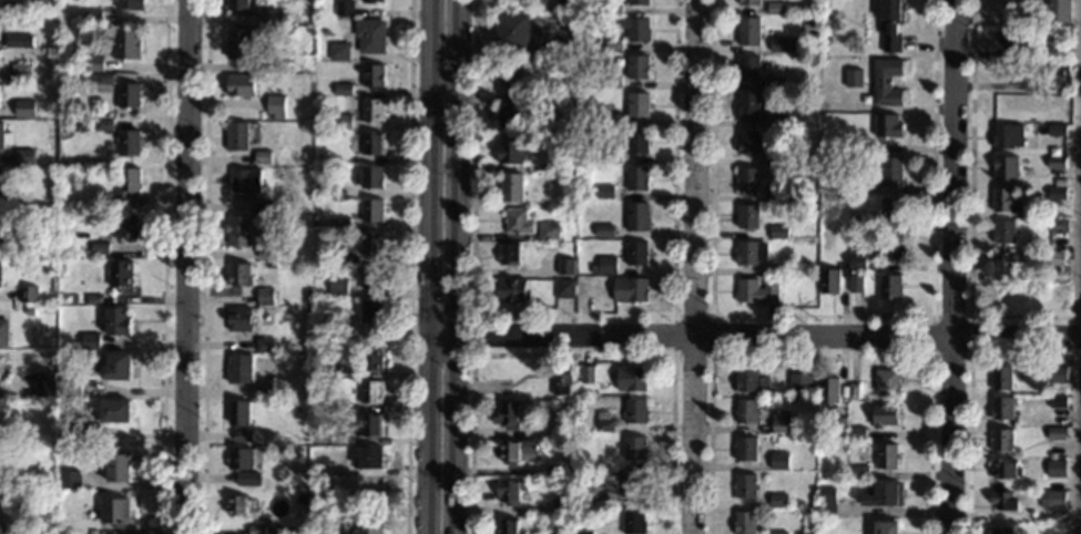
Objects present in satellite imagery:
building: (1032, 0)
building: (0, 1)
building: (371, 1)
building: (565, 2)
building: (638, 2)
building: (749, 2)
building: (131, 4)
building: (239, 4)
building: (16, 7)
building: (612, 7)
building: (345, 8)
building: (776, 8)
building: (1055, 10)
building: (93, 17)
building: (275, 17)
building: (890, 23)
building: (807, 27)
building: (636, 29)
building: (513, 31)
building: (749, 31)
building: (371, 35)
building: (1013, 38)
building: (16, 40)
building: (565, 42)
building: (128, 43)
building: (242, 43)
building: (612, 44)
building: (782, 44)
building: (307, 48)
building: (339, 51)
building: (1043, 52)
building: (94, 63)
building: (276, 65)
building: (636, 66)
building: (748, 68)
building: (1057, 68)
building: (512, 70)
building: (21, 72)
building: (374, 75)
building: (101, 78)
building: (854, 78)
building: (610, 80)
building: (886, 82)
building: (1062, 84)
building: (242, 85)
building: (777, 85)
building: (540, 86)
building: (344, 89)
building: (129, 95)
building: (1054, 99)
building: (1008, 103)
building: (276, 104)
building: (638, 104)
building: (748, 105)
building: (26, 107)
building: (374, 110)
building: (510, 112)
building: (609, 120)
building: (778, 120)
building: (343, 121)
building: (103, 124)
building: (887, 125)
building: (568, 127)
building: (1057, 130)
building: (237, 135)
building: (4, 136)
building: (1008, 136)
building: (636, 141)
building: (129, 142)
building: (747, 142)
building: (375, 143)
building: (583, 145)
building: (860, 147)
building: (512, 148)
building: (24, 155)
building: (604, 155)
building: (264, 156)
building: (784, 157)
building: (1055, 162)
building: (565, 164)
building: (584, 166)
building: (621, 167)
building: (1006, 167)
building: (890, 171)
building: (374, 176)
building: (567, 176)
building: (1, 178)
building: (633, 178)
building: (747, 178)
building: (246, 179)
building: (846, 182)
building: (128, 184)
building: (513, 187)
building: (324, 189)
building: (604, 192)
building: (1057, 193)
building: (774, 194)
building: (6, 201)
building: (1006, 201)
building: (264, 205)
building: (890, 208)
building: (373, 209)
road: (970, 214)
building: (636, 216)
building: (747, 216)
building: (341, 222)
building: (519, 222)
building: (318, 223)
building: (863, 223)
building: (124, 225)
building: (1059, 225)
building: (239, 230)
building: (603, 230)
building: (548, 232)
building: (1003, 232)
building: (781, 233)
building: (373, 243)
building: (99, 247)
building: (891, 247)
building: (268, 250)
building: (511, 253)
building: (636, 253)
building: (751, 253)
building: (339, 256)
building: (1054, 258)
building: (856, 261)
building: (1002, 264)
building: (272, 265)
building: (603, 265)
road: (408, 266)
road: (456, 266)
building: (564, 266)
road: (955, 266)
road: (165, 267)
road: (187, 267)
road: (205, 267)
road: (429, 267)
road: (694, 267)
building: (776, 268)
building: (1, 273)
building: (121, 273)
building: (241, 274)
building: (373, 277)
building: (828, 280)
building: (855, 284)
building: (890, 286)
building: (338, 287)
building: (563, 288)
building: (512, 289)
building: (629, 289)
building: (755, 291)
building: (1057, 291)
building: (305, 292)
building: (29, 294)
building: (1012, 294)
building: (266, 296)
building: (94, 299)
building: (373, 309)
building: (30, 310)
road: (572, 316)
road: (820, 317)
building: (241, 318)
building: (119, 321)
building: (338, 322)
building: (4, 331)
road: (754, 335)
building: (91, 341)
building: (266, 345)
road: (820, 355)
road: (969, 355)
road: (459, 356)
road: (571, 356)
road: (710, 356)
building: (373, 359)
building: (758, 364)
building: (118, 366)
building: (241, 368)
building: (322, 368)
building: (0, 370)
building: (587, 373)
building: (1058, 374)
building: (561, 377)
building: (1001, 378)
building: (631, 379)
building: (746, 380)
building: (887, 380)
building: (45, 383)
building: (799, 383)
building: (71, 387)
road: (969, 389)
building: (828, 390)
building: (853, 391)
building: (266, 392)
building: (371, 392)
building: (523, 394)
building: (1057, 401)
building: (315, 405)
building: (1001, 408)
building: (51, 409)
building: (115, 410)
building: (634, 411)
building: (746, 411)
building: (508, 414)
building: (884, 415)
building: (241, 419)
building: (603, 421)
building: (779, 422)
building: (370, 424)
building: (0, 425)
building: (839, 425)
building: (802, 429)
building: (79, 432)
building: (563, 432)
building: (856, 433)
building: (1055, 433)
building: (338, 437)
building: (777, 440)
building: (1001, 440)
road: (1080, 444)
building: (634, 449)
building: (745, 449)
building: (518, 452)
building: (1, 453)
building: (335, 453)
building: (369, 456)
building: (887, 456)
building: (242, 458)
building: (583, 459)
building: (778, 461)
building: (119, 468)
building: (552, 469)
building: (1055, 469)
building: (320, 470)
building: (1004, 470)
building: (859, 472)
building: (247, 477)
building: (69, 479)
building: (11, 482)
building: (580, 482)
building: (49, 484)
building: (633, 485)
building: (318, 486)
building: (745, 486)
building: (511, 491)
building: (879, 493)
building: (589, 496)
building: (778, 500)
building: (1052, 500)
building: (1003, 501)
building: (826, 502)
building: (239, 505)
building: (562, 507)
building: (114, 511)
building: (633, 523)
building: (744, 523)
building: (369, 524)
building: (509, 526)
building: (886, 527)
building: (257, 528)
building: (7, 530)
building: (329, 530)
building: (1000, 530)
building: (91, 532)
building: (558, 533)
building: (583, 533)
building: (777, 533)

